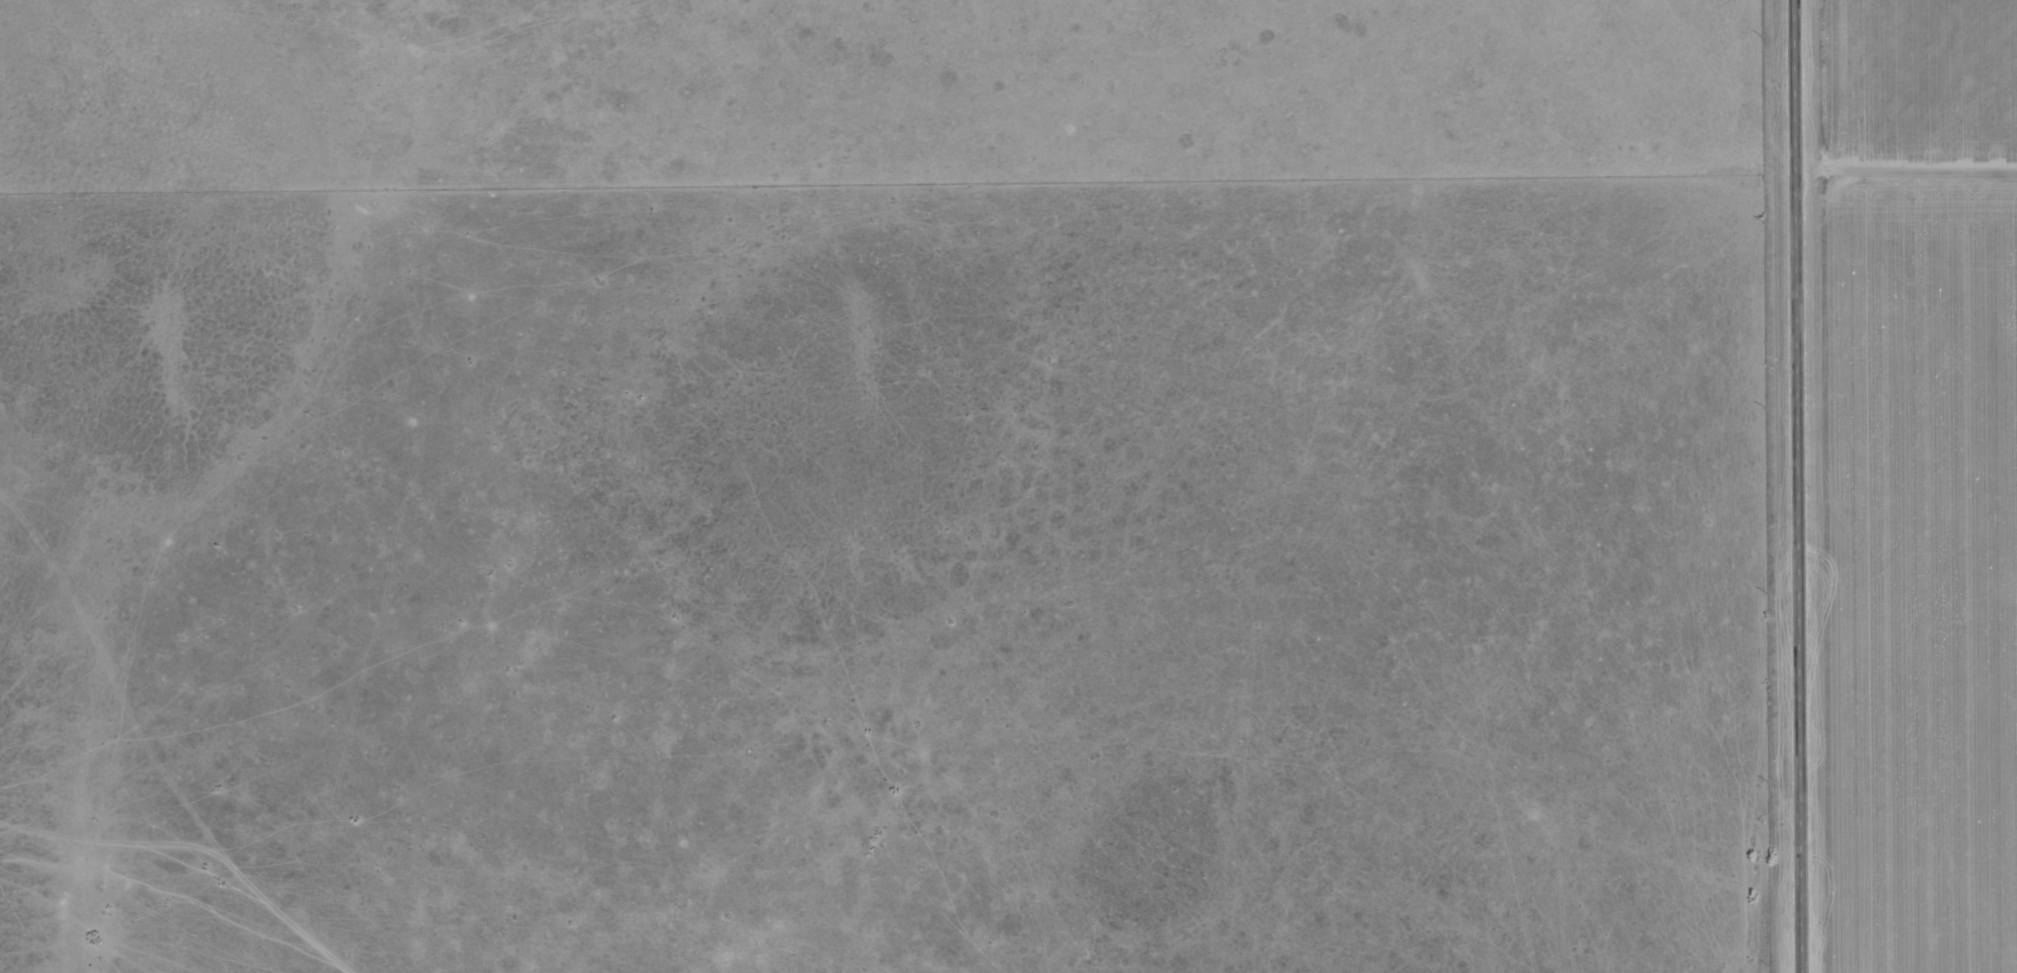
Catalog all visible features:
road: (1799, 486)

